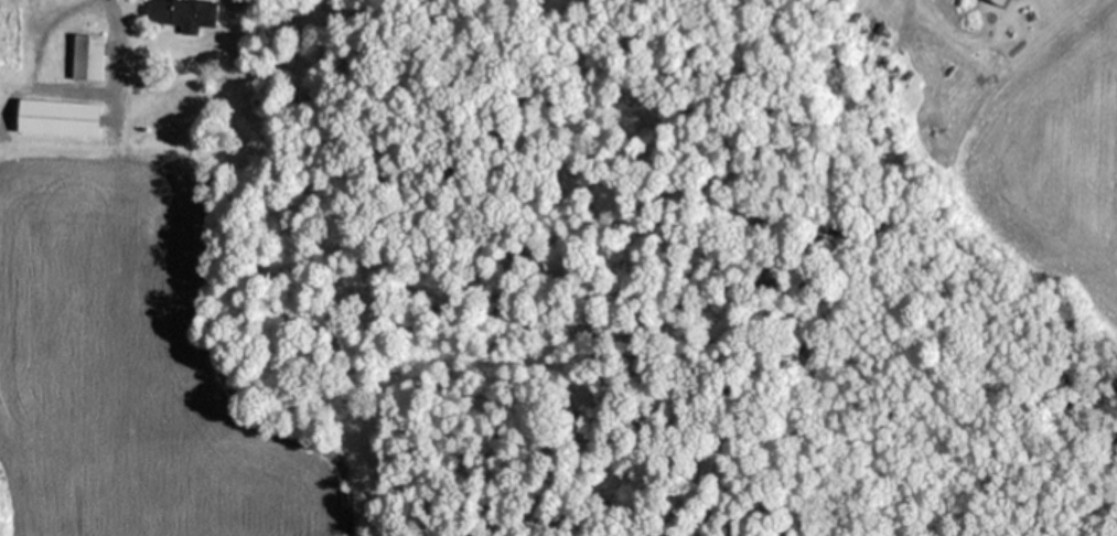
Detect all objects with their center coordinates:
building: (24, 0)
building: (182, 12)
building: (87, 55)
building: (57, 116)

